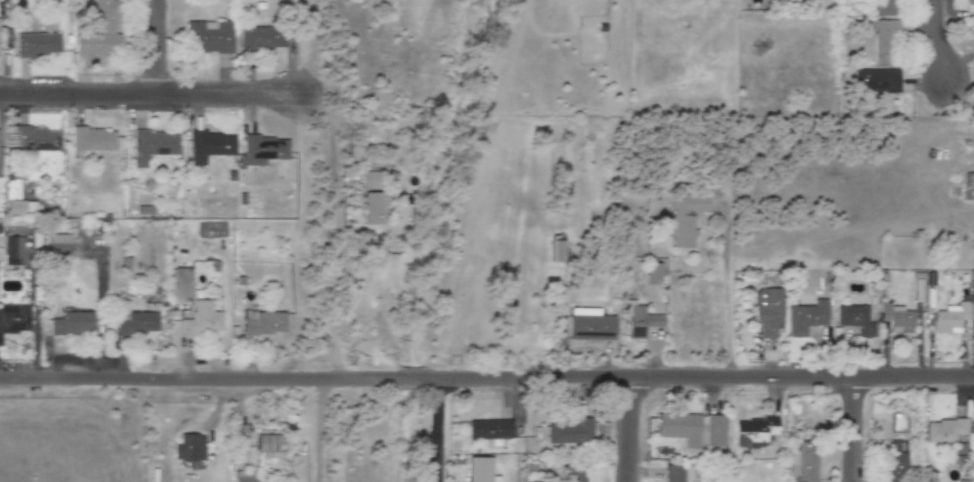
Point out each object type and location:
building: (886, 8)
building: (971, 8)
building: (102, 32)
building: (211, 37)
building: (5, 38)
building: (263, 39)
road: (934, 40)
building: (886, 44)
building: (38, 45)
road: (157, 47)
building: (882, 82)
road: (150, 95)
building: (36, 140)
building: (94, 141)
building: (153, 147)
building: (209, 147)
building: (262, 152)
building: (371, 182)
building: (22, 209)
building: (374, 209)
road: (392, 215)
building: (686, 219)
building: (211, 231)
building: (59, 245)
building: (557, 252)
building: (653, 275)
building: (183, 284)
building: (973, 300)
building: (768, 312)
building: (807, 319)
building: (898, 319)
building: (951, 319)
building: (638, 320)
building: (202, 321)
building: (857, 321)
building: (14, 322)
building: (144, 323)
building: (264, 324)
building: (73, 325)
building: (590, 326)
road: (487, 379)
building: (679, 429)
road: (439, 430)
road: (628, 430)
building: (756, 430)
road: (855, 430)
road: (318, 431)
building: (490, 431)
building: (945, 431)
building: (716, 432)
building: (570, 433)
building: (270, 446)
building: (895, 447)
building: (190, 449)
building: (804, 462)
building: (895, 467)
building: (481, 470)
building: (573, 474)
building: (679, 474)
building: (245, 477)

